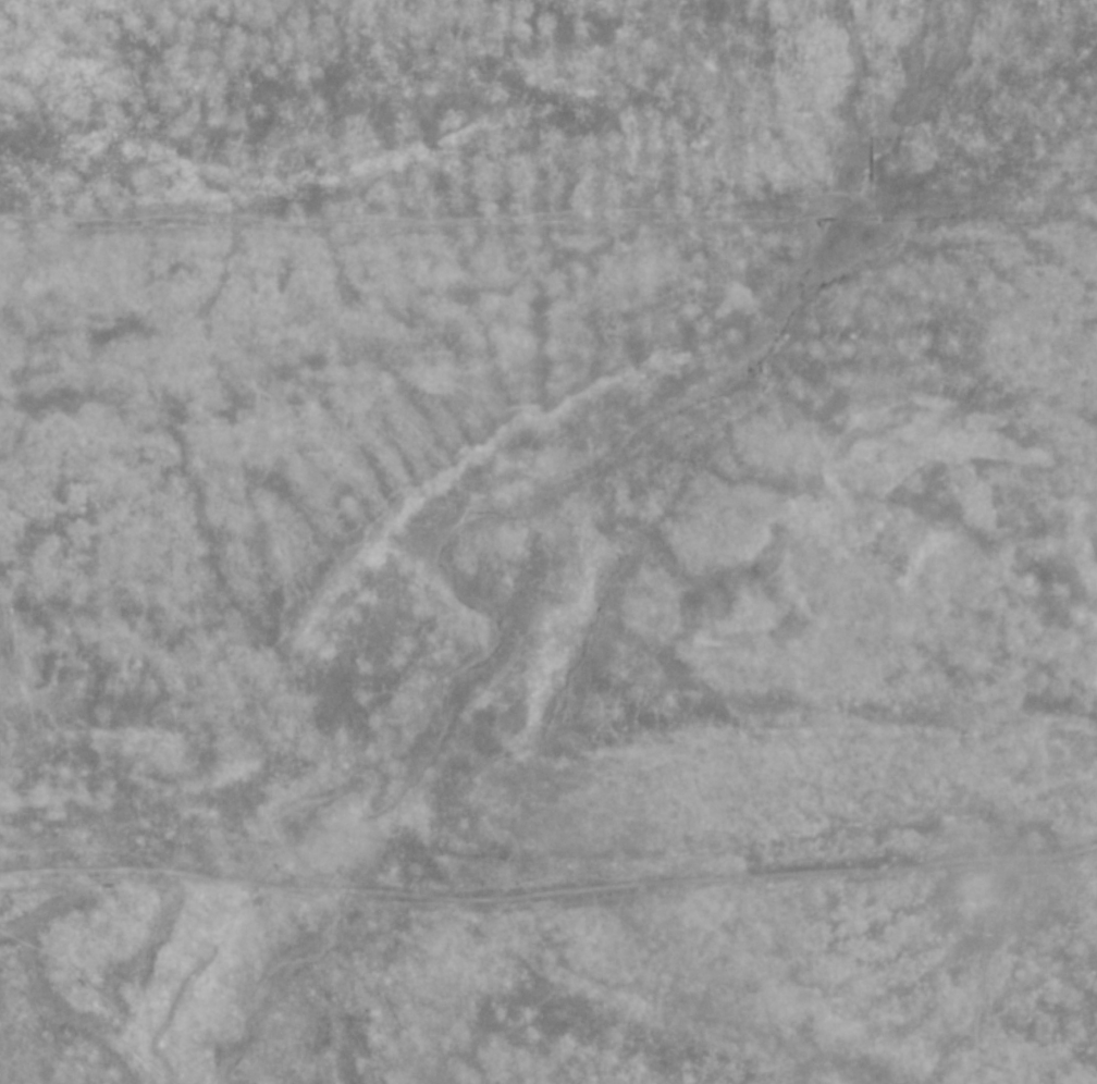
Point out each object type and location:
road: (548, 889)

